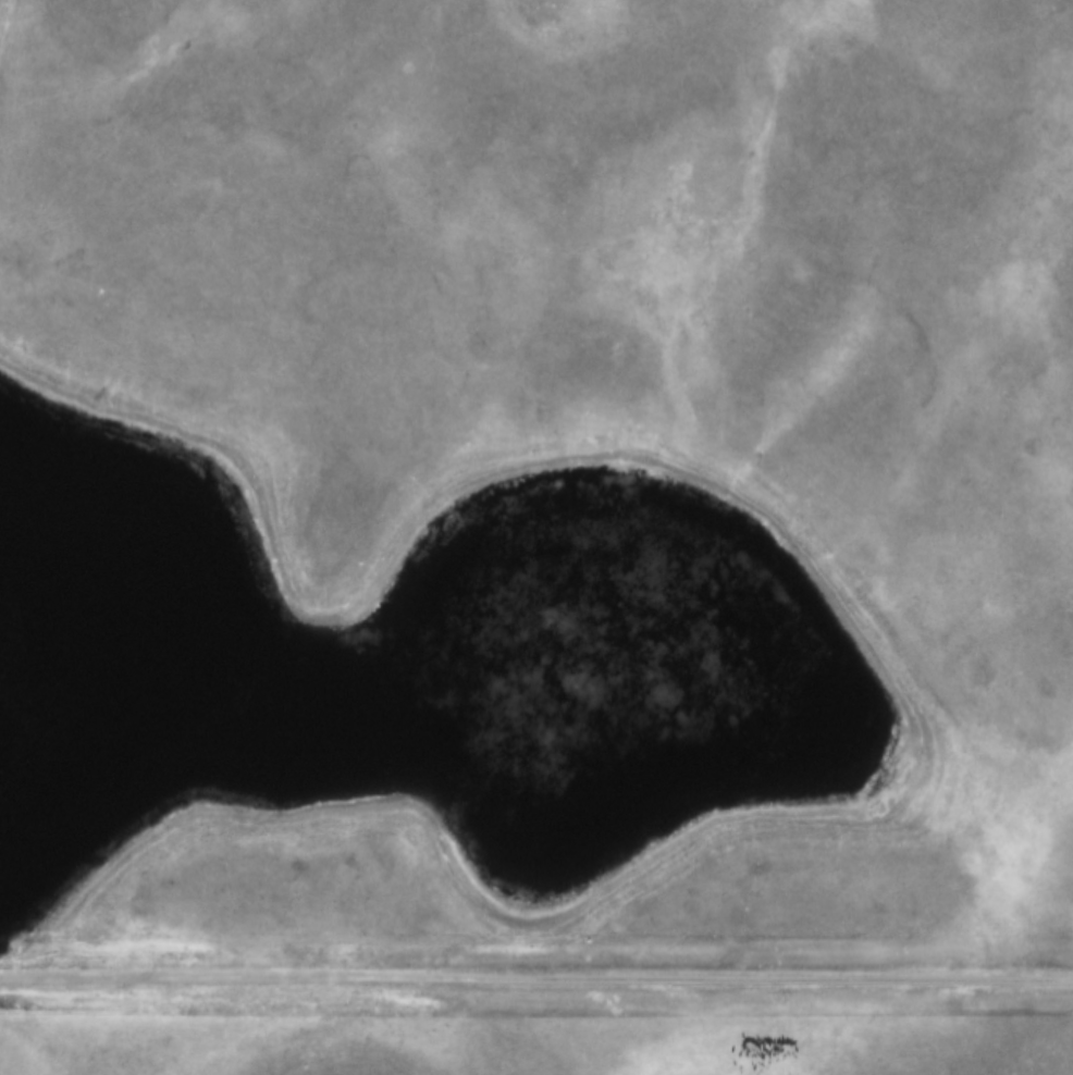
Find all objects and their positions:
road: (536, 980)

